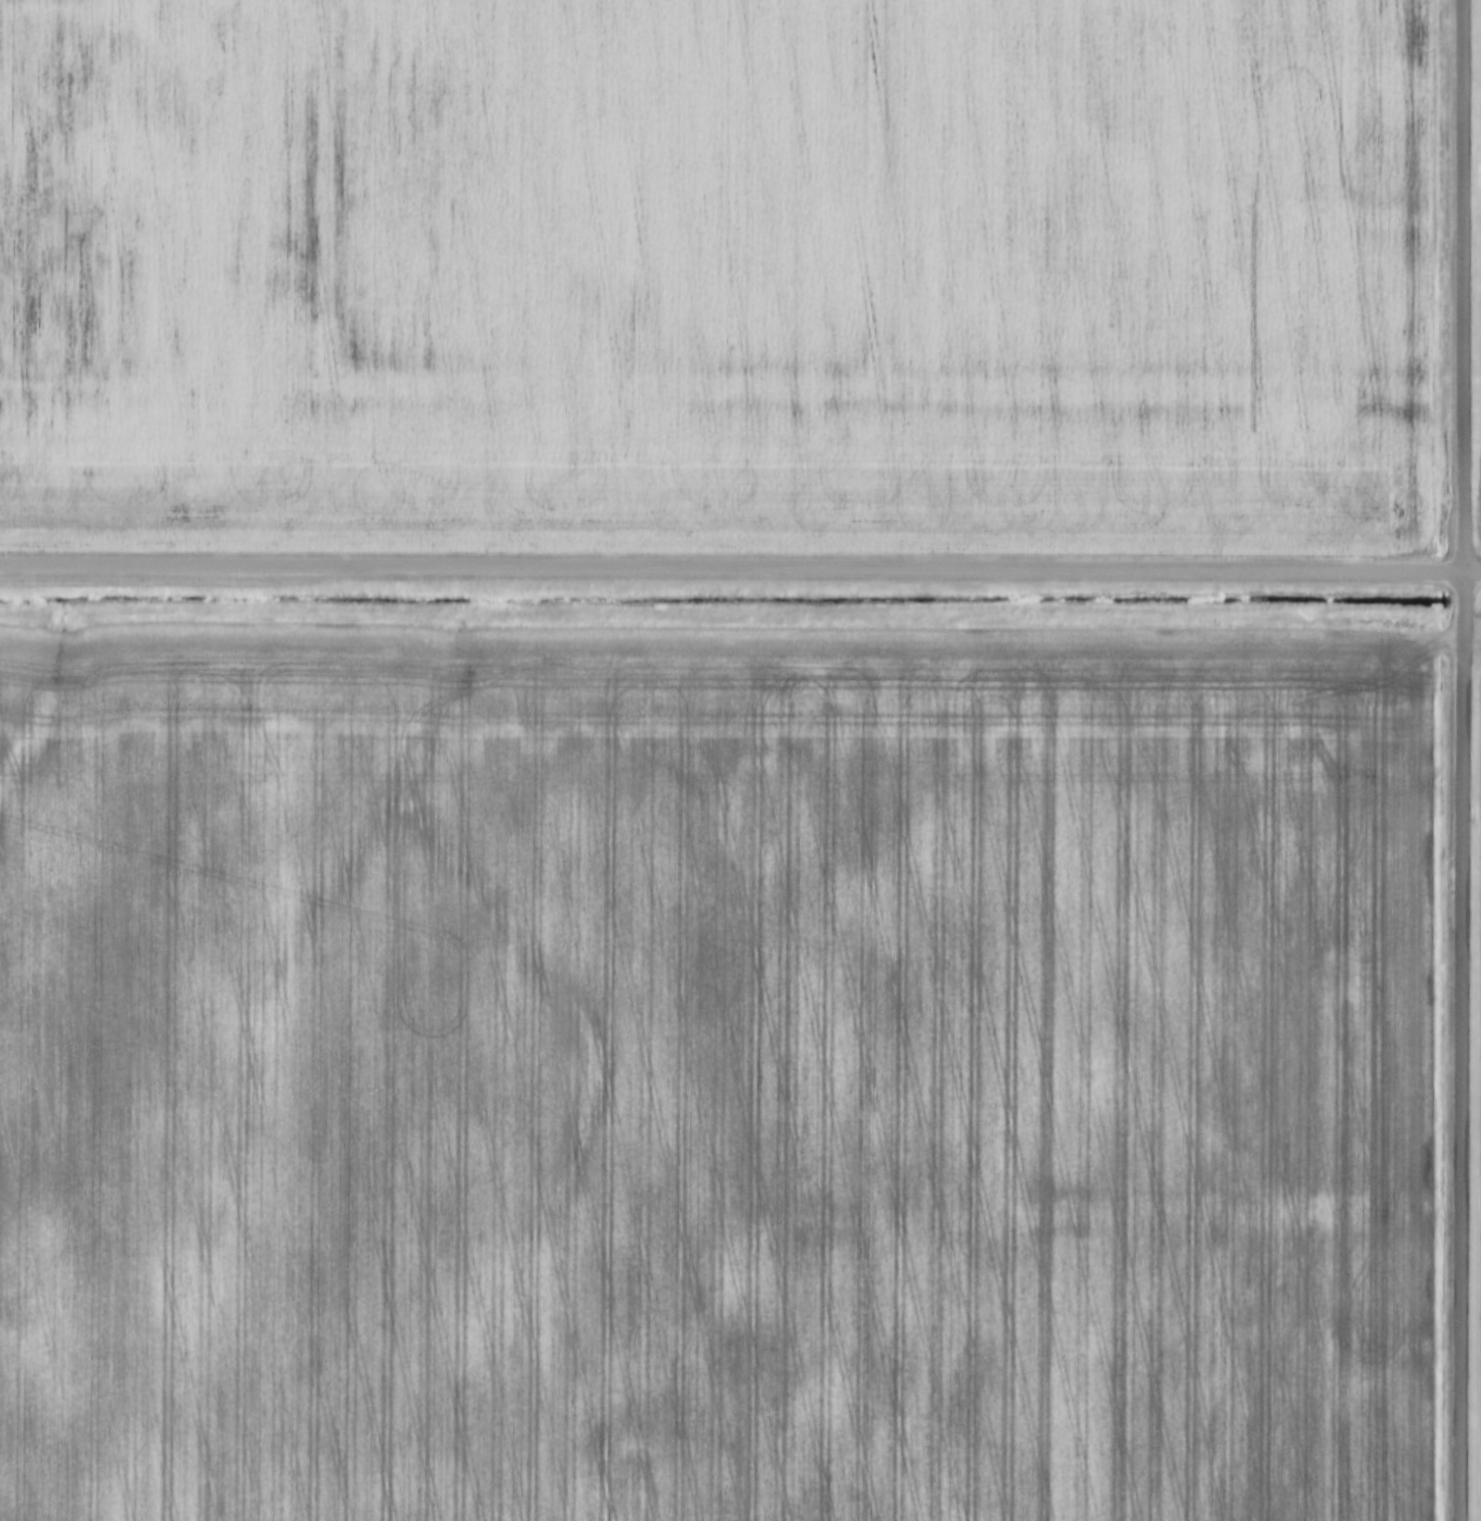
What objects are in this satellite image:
road: (740, 570)
road: (1462, 760)

